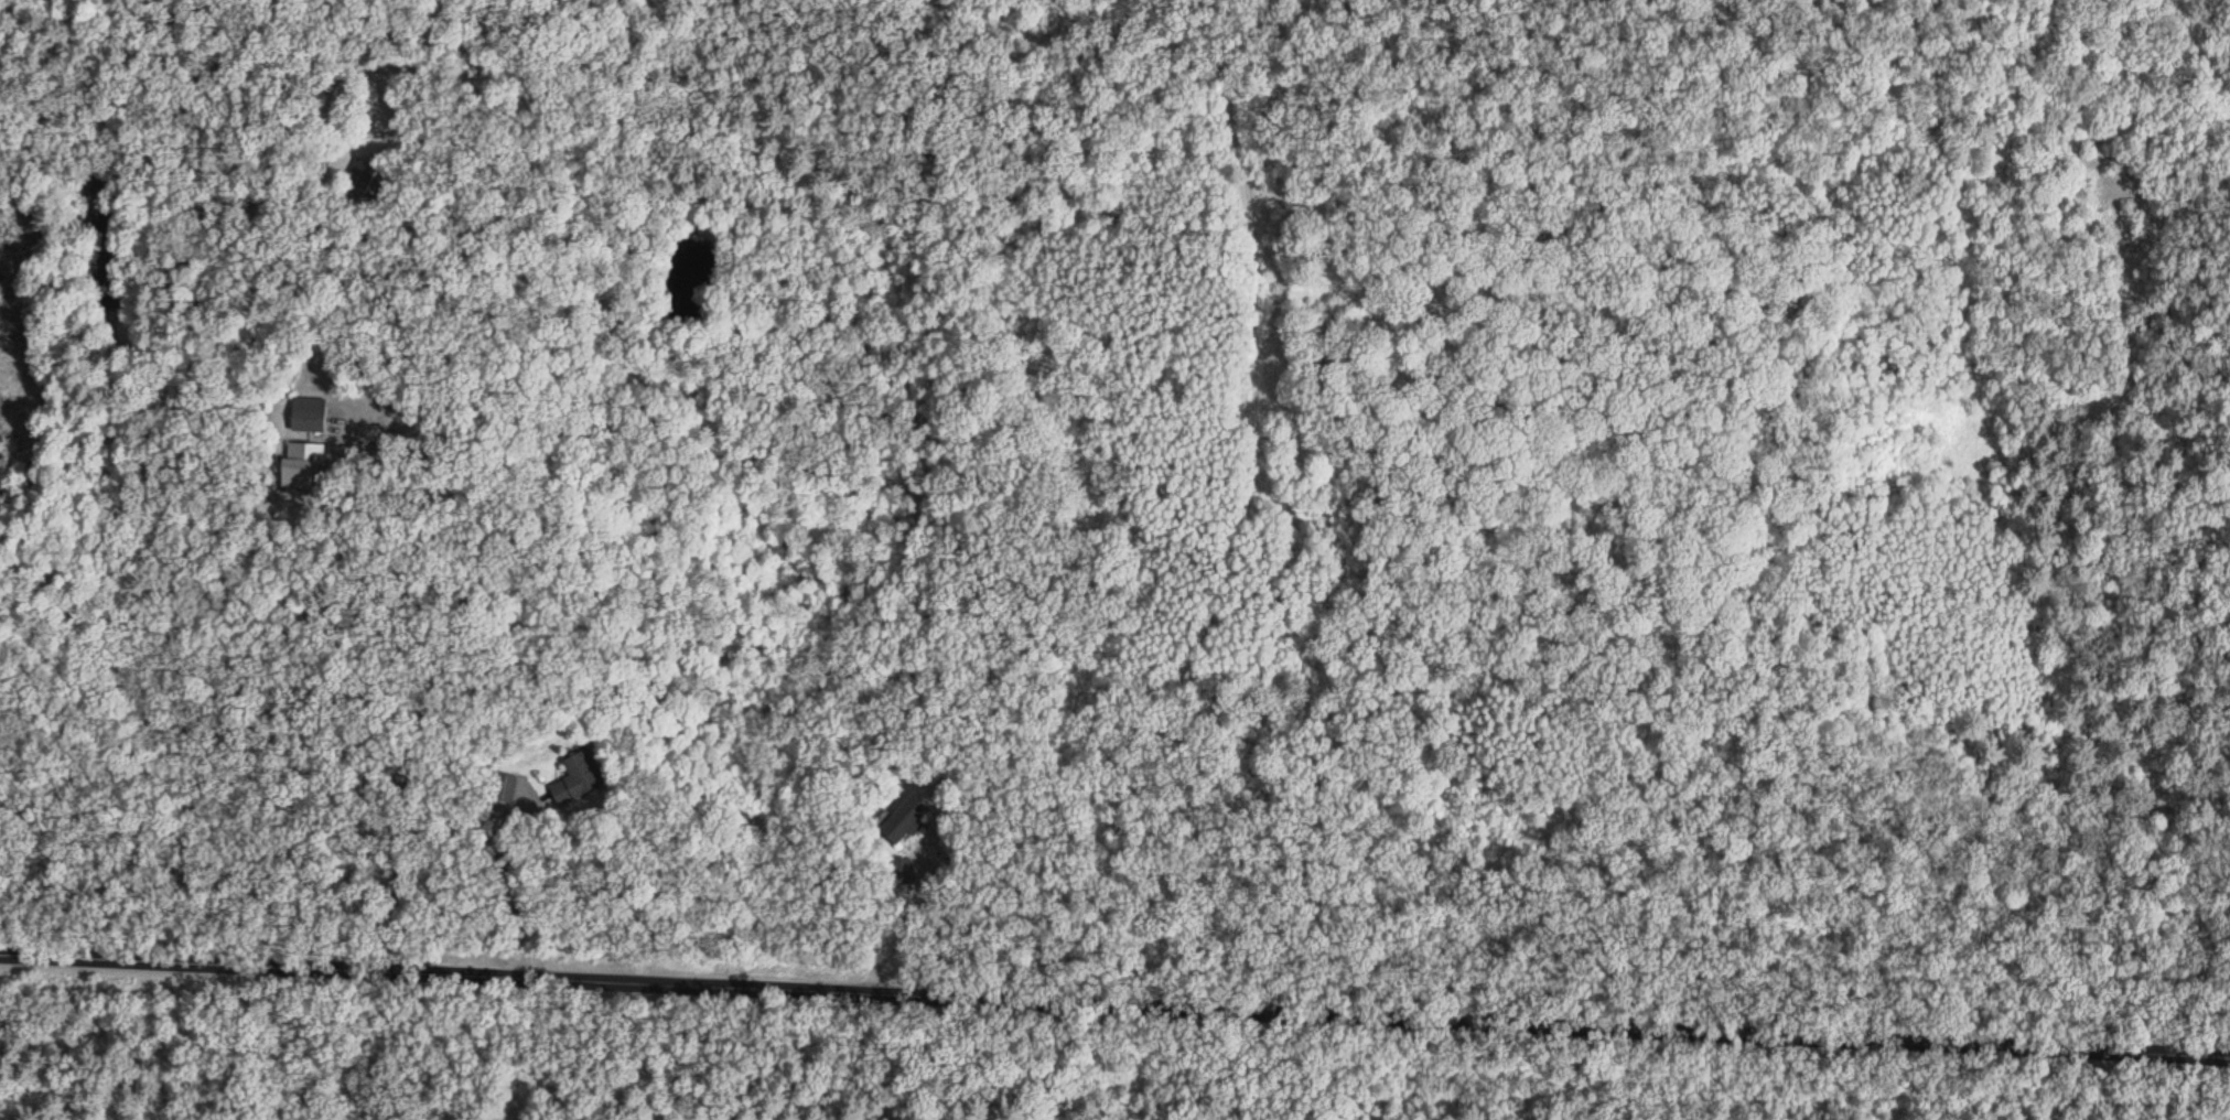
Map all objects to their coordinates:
building: (367, 182)
building: (309, 417)
road: (464, 536)
road: (1364, 585)
building: (575, 783)
building: (506, 787)
road: (396, 818)
building: (902, 822)
road: (510, 881)
road: (903, 920)
road: (882, 981)
road: (1997, 1036)
road: (241, 1037)

